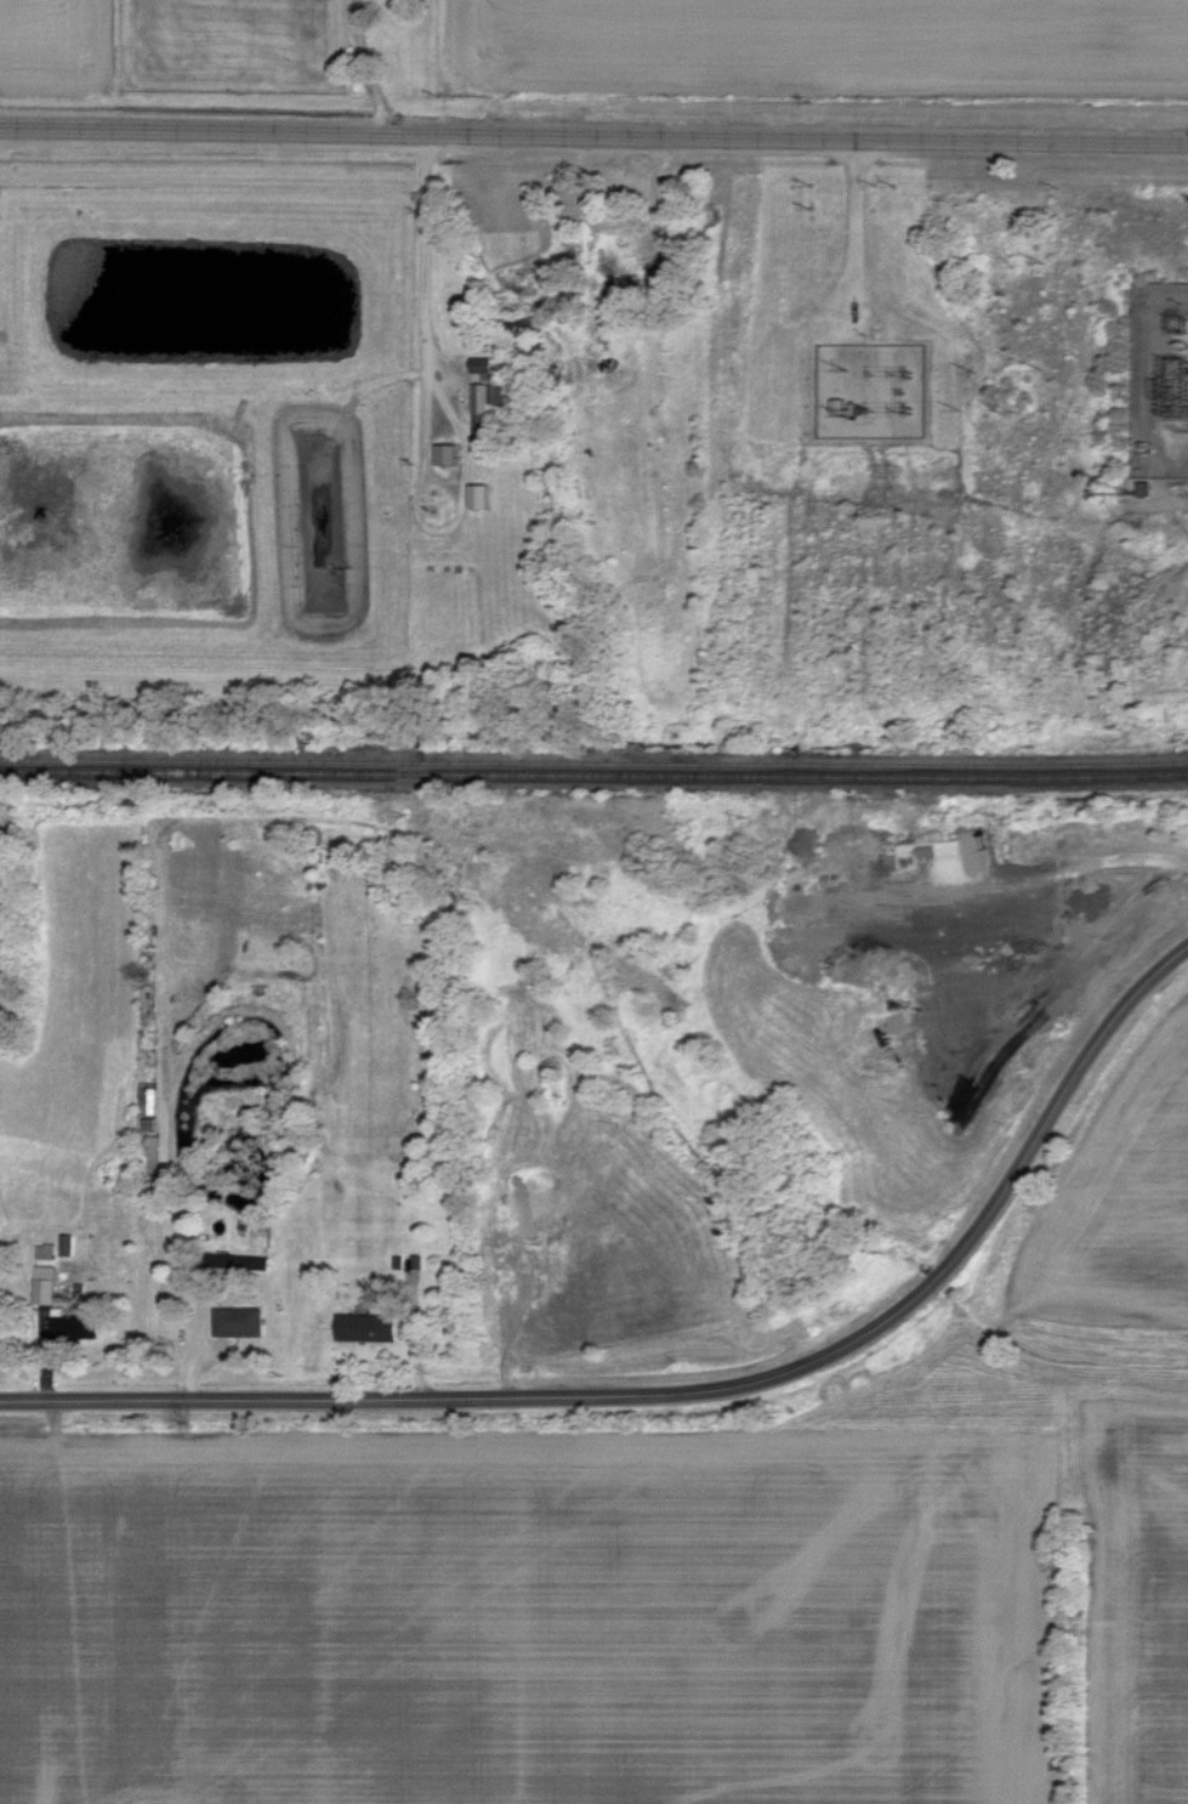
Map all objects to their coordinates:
road: (362, 70)
road: (593, 140)
road: (430, 289)
building: (485, 364)
power substation: (1163, 381)
building: (507, 395)
building: (483, 405)
building: (450, 454)
building: (484, 497)
railway: (593, 762)
railway: (593, 775)
building: (70, 1244)
building: (50, 1250)
building: (50, 1283)
building: (241, 1321)
building: (79, 1324)
building: (370, 1327)
road: (694, 1395)

